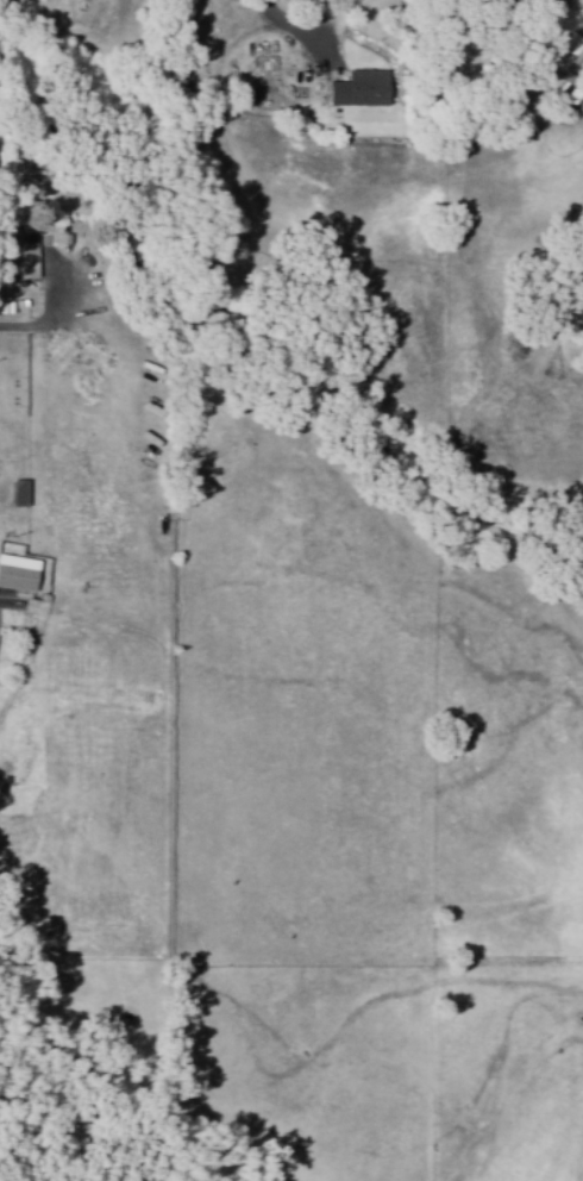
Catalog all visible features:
building: (563, 52)
building: (357, 89)
building: (26, 256)
building: (18, 493)
building: (17, 574)
road: (15, 605)

